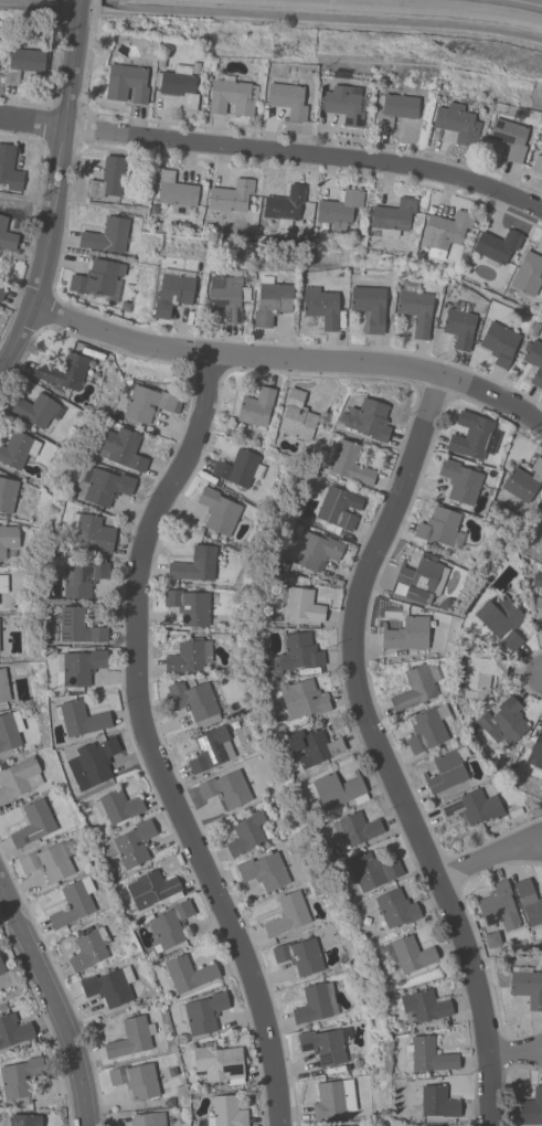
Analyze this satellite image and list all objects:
road: (524, 2)
road: (78, 10)
building: (22, 63)
building: (127, 83)
building: (179, 85)
building: (232, 96)
building: (287, 96)
building: (343, 105)
building: (395, 109)
building: (457, 124)
road: (68, 135)
building: (509, 138)
road: (274, 153)
building: (536, 164)
building: (9, 168)
building: (108, 178)
building: (176, 191)
building: (231, 196)
building: (285, 205)
building: (339, 210)
building: (394, 216)
building: (445, 233)
building: (7, 235)
building: (107, 236)
building: (497, 246)
building: (528, 274)
building: (97, 279)
building: (173, 290)
building: (2, 293)
building: (229, 296)
building: (272, 301)
building: (370, 306)
building: (321, 307)
building: (415, 308)
road: (30, 314)
building: (459, 325)
building: (499, 343)
building: (534, 361)
road: (289, 362)
building: (64, 372)
building: (148, 403)
building: (256, 406)
building: (38, 410)
building: (297, 416)
building: (368, 419)
building: (472, 436)
building: (123, 448)
building: (15, 449)
building: (348, 461)
building: (240, 468)
building: (460, 481)
building: (523, 481)
building: (105, 486)
building: (8, 493)
building: (540, 503)
building: (338, 509)
building: (219, 511)
building: (440, 528)
building: (91, 533)
building: (8, 539)
building: (312, 552)
building: (195, 564)
building: (83, 578)
building: (422, 578)
building: (536, 580)
building: (3, 584)
building: (301, 604)
building: (190, 607)
building: (538, 613)
building: (501, 620)
building: (78, 627)
building: (411, 634)
building: (294, 655)
building: (189, 656)
building: (82, 667)
building: (476, 674)
building: (3, 687)
building: (416, 687)
building: (302, 700)
building: (196, 701)
building: (79, 719)
building: (501, 720)
building: (428, 729)
building: (10, 730)
road: (149, 745)
building: (313, 746)
building: (211, 750)
road: (380, 752)
building: (535, 752)
building: (95, 761)
building: (447, 769)
building: (19, 778)
building: (226, 789)
building: (337, 790)
building: (117, 805)
building: (472, 808)
building: (34, 824)
building: (355, 828)
building: (246, 835)
building: (130, 845)
building: (51, 861)
road: (490, 861)
building: (265, 871)
building: (372, 871)
building: (152, 889)
building: (529, 902)
building: (73, 903)
building: (499, 906)
building: (395, 909)
building: (288, 914)
building: (171, 924)
building: (88, 949)
building: (407, 954)
building: (299, 956)
building: (2, 968)
building: (189, 974)
building: (109, 986)
building: (528, 986)
building: (316, 1003)
building: (425, 1006)
road: (54, 1007)
building: (203, 1012)
building: (13, 1030)
building: (131, 1038)
building: (326, 1044)
building: (428, 1055)
road: (516, 1056)
building: (217, 1063)
building: (20, 1080)
building: (136, 1080)
building: (328, 1100)
building: (436, 1101)
building: (531, 1108)
building: (227, 1112)
building: (148, 1119)
building: (25, 1120)

